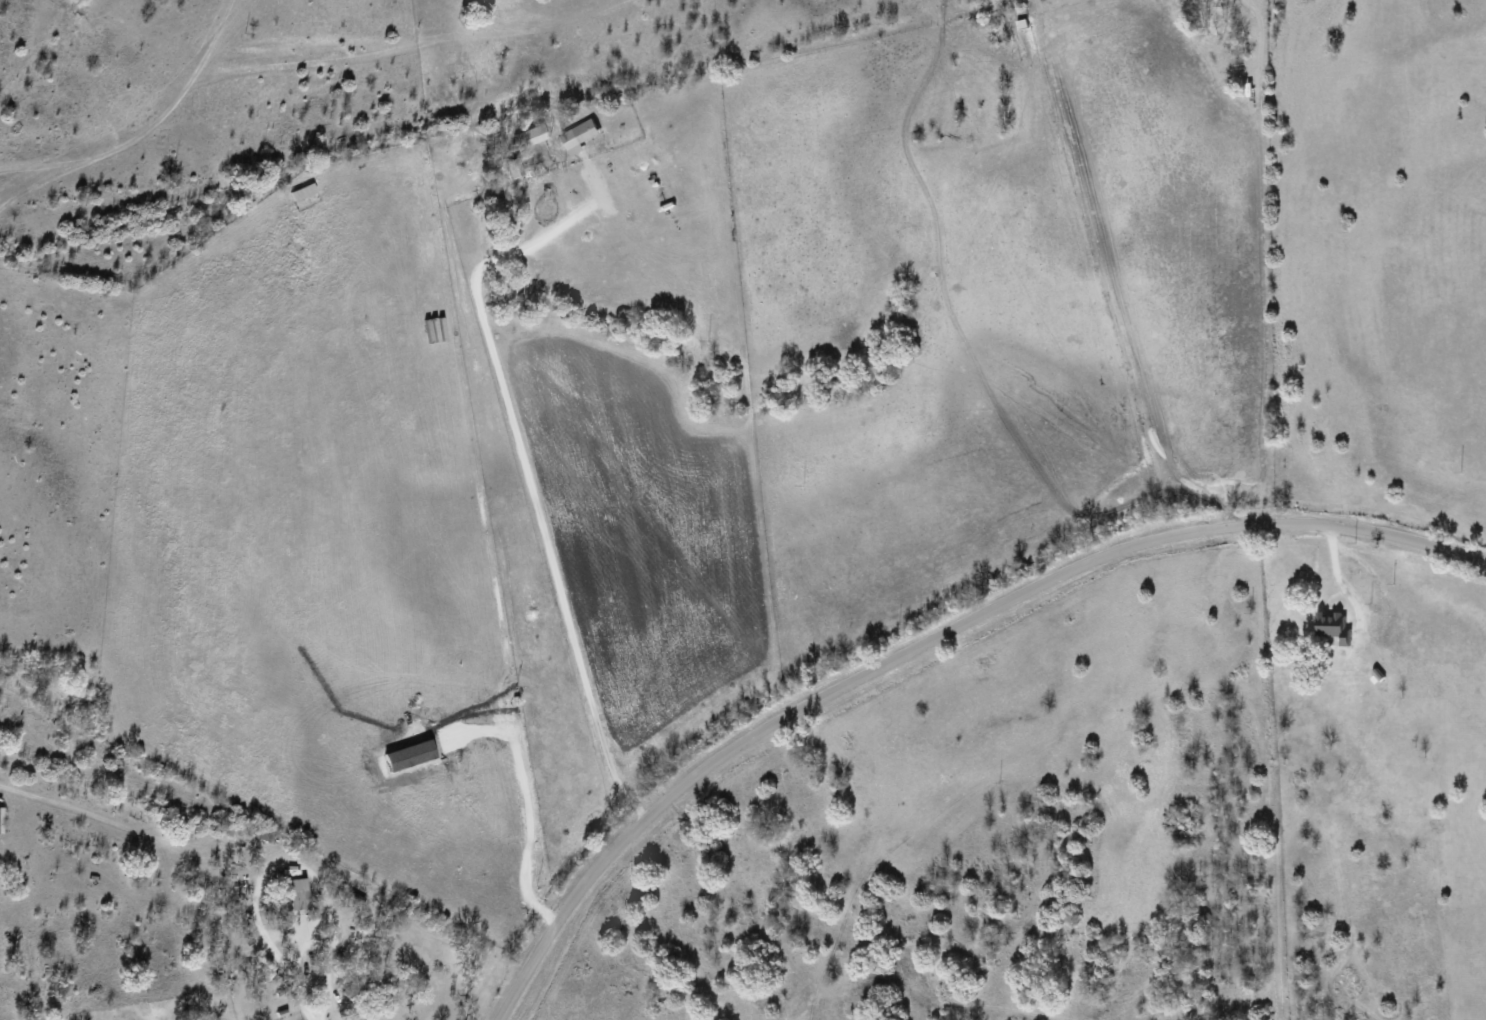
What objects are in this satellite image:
building: (584, 127)
building: (1330, 623)
road: (927, 640)
building: (264, 833)
building: (295, 893)
road: (314, 1009)

